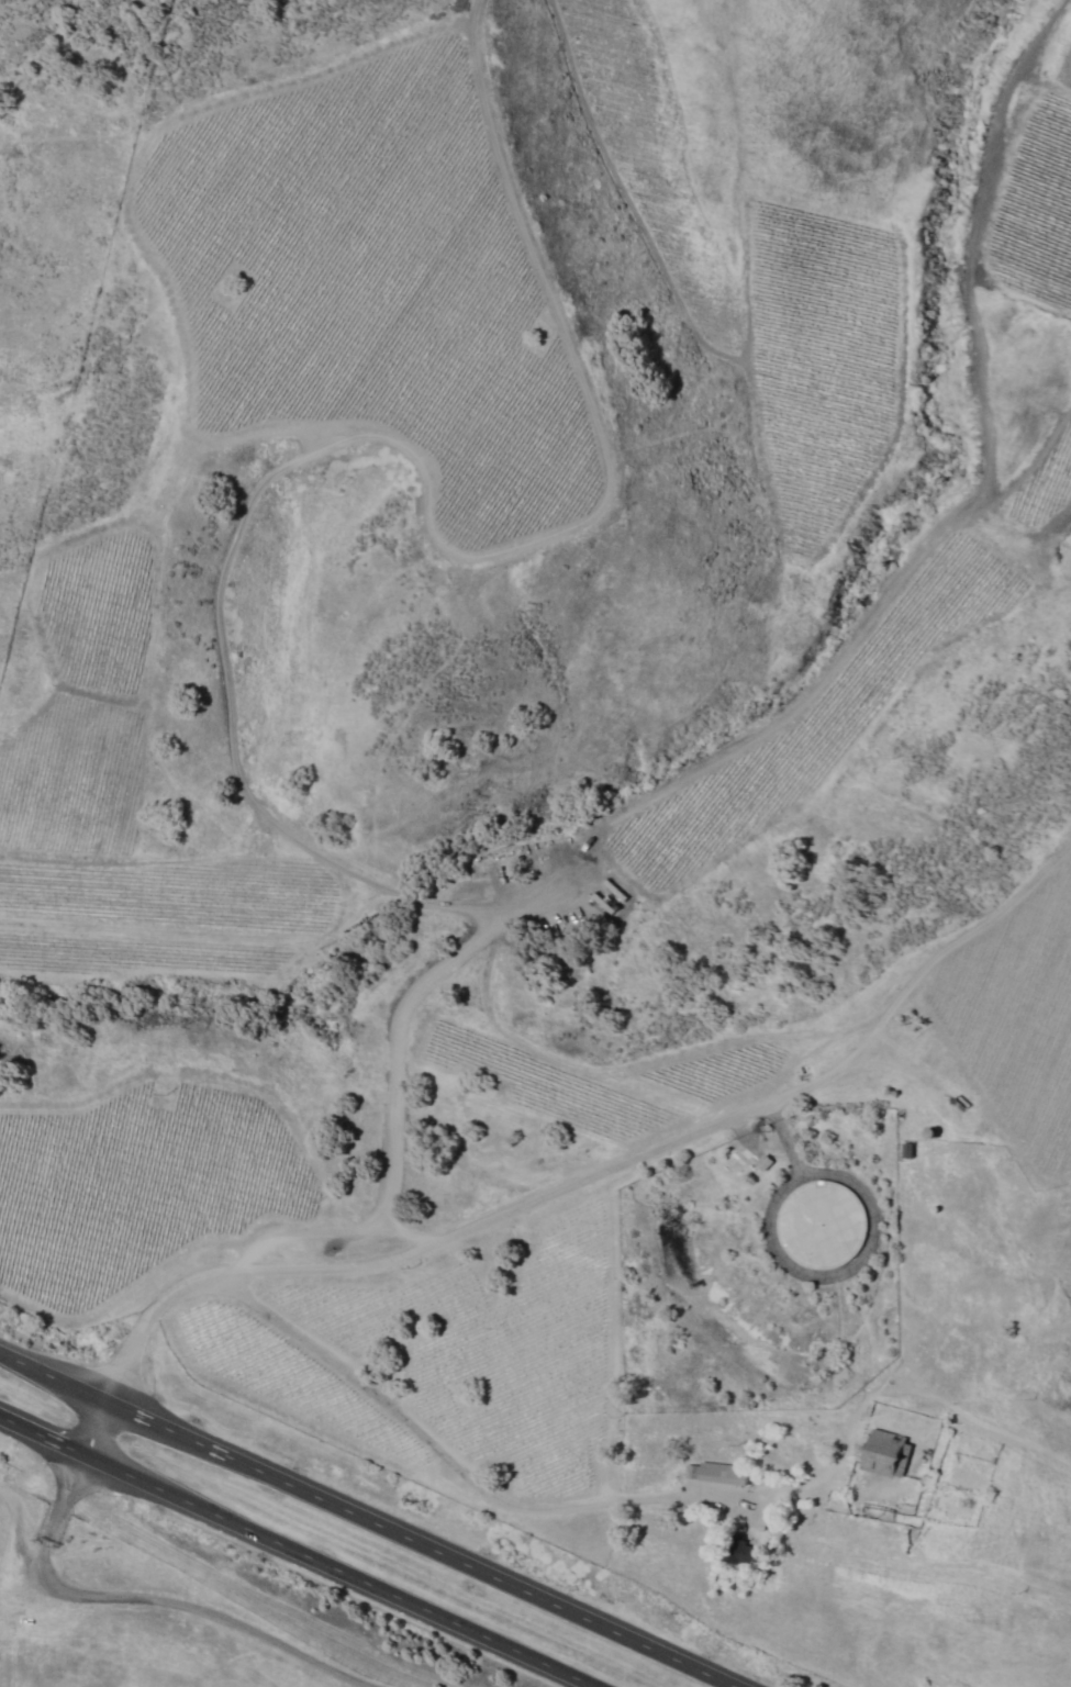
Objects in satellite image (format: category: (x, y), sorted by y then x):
crop: (1035, 203)
crop: (525, 505)
crop: (773, 742)
crop: (1016, 1018)
road: (570, 1188)
road: (440, 1439)
building: (882, 1454)
building: (719, 1473)
road: (373, 1520)
road: (290, 1549)
building: (736, 1552)

